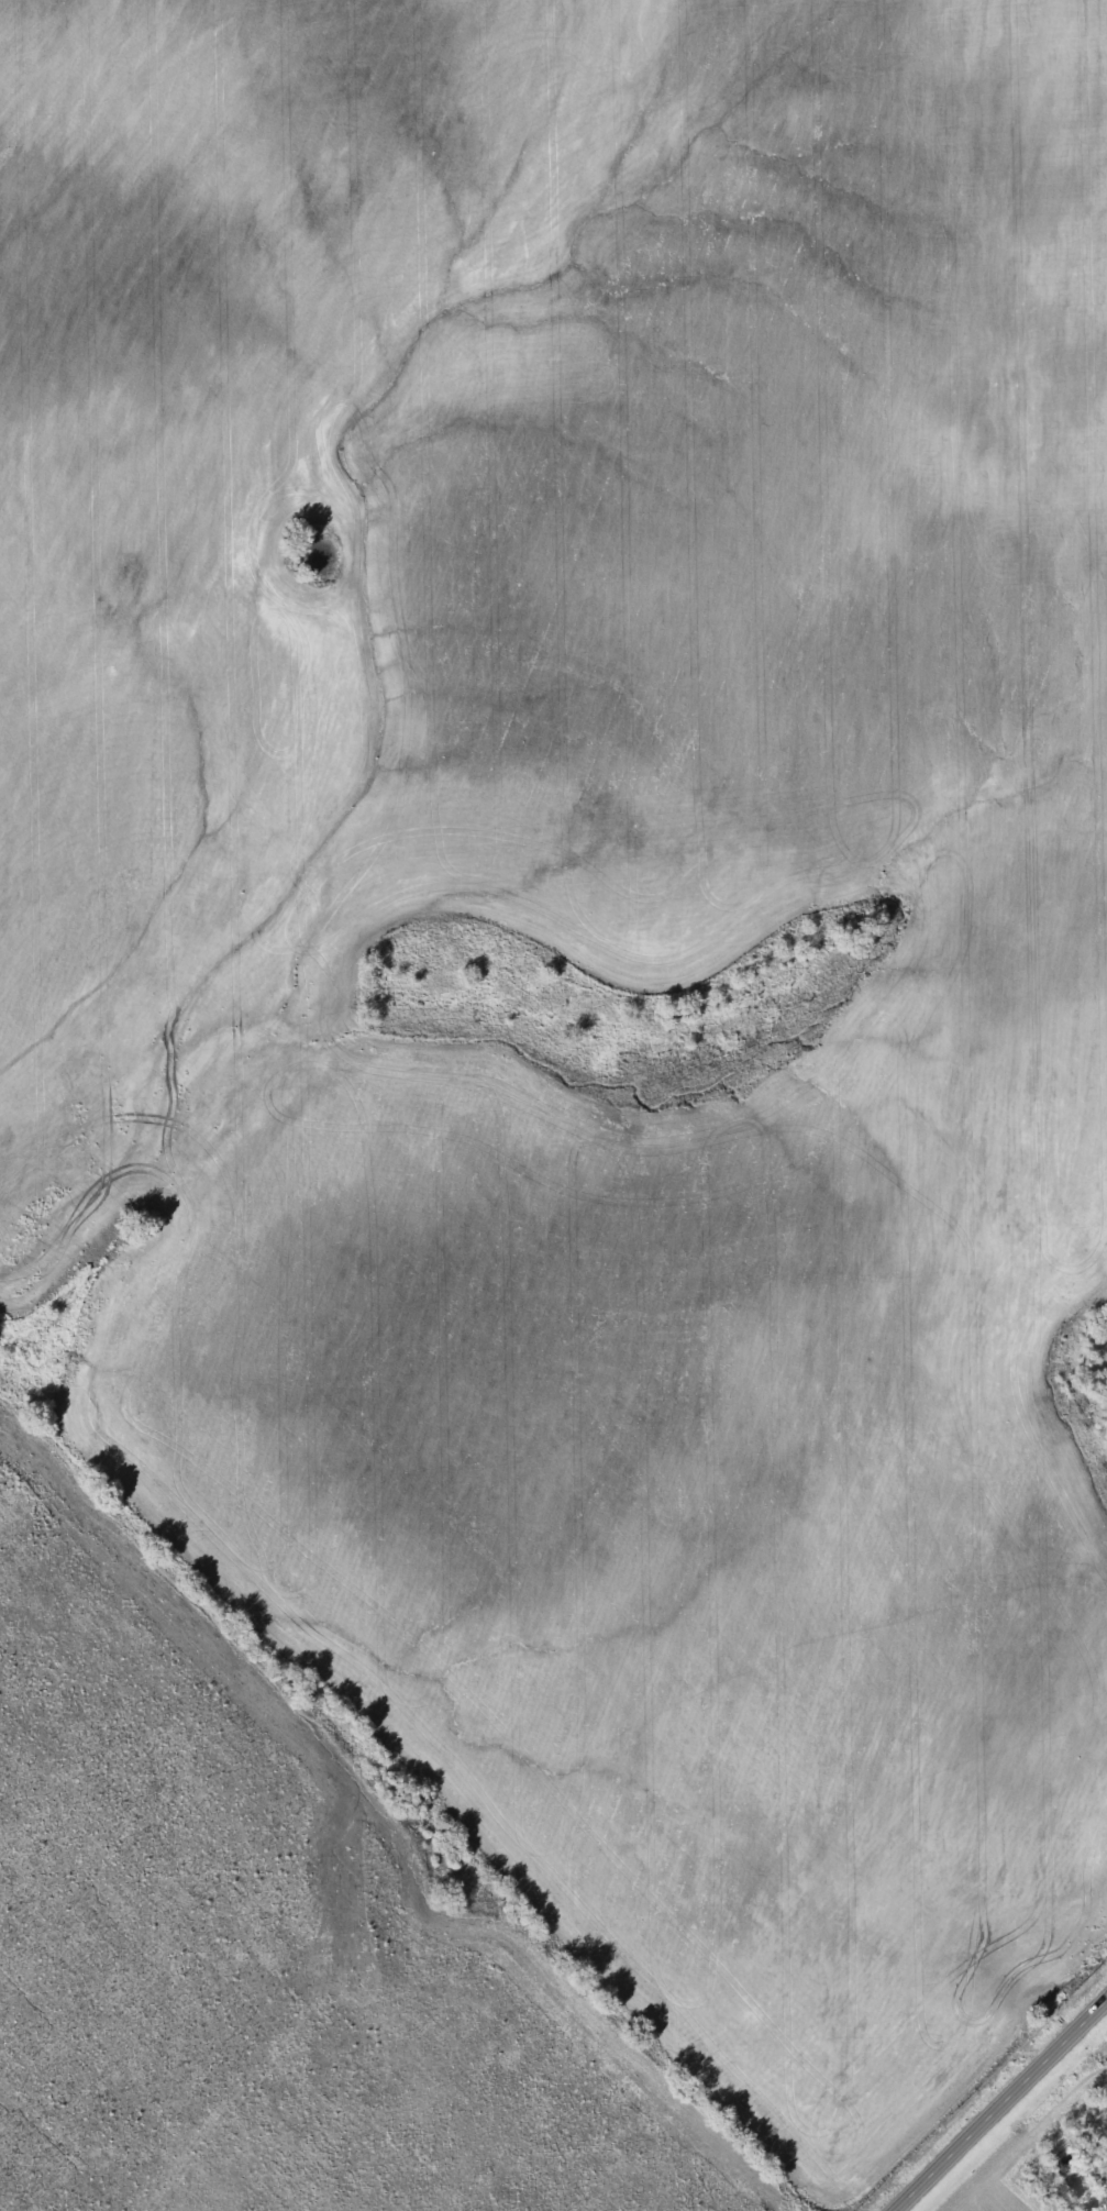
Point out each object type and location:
road: (997, 2102)

